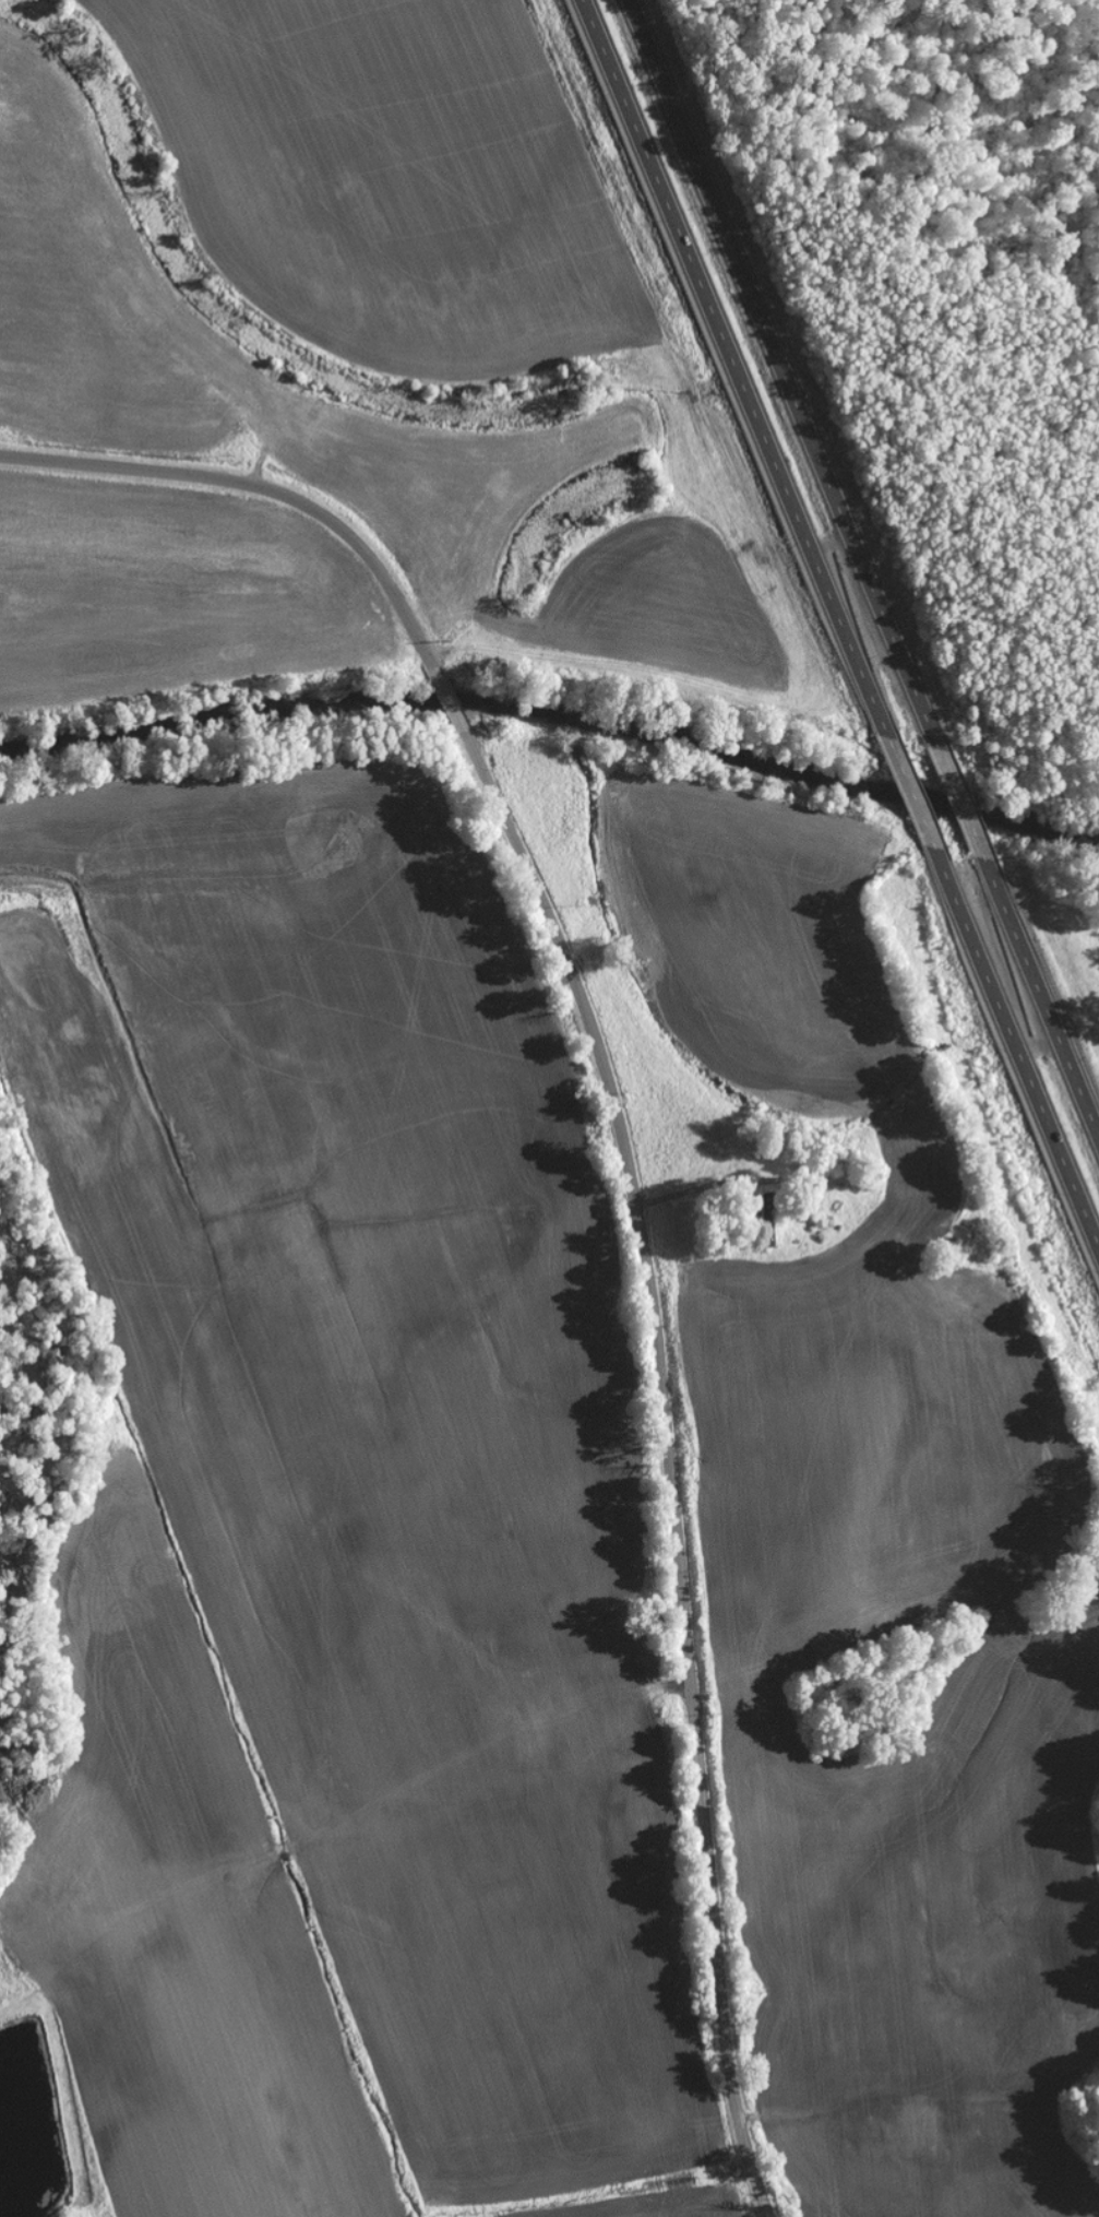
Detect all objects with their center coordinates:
road: (730, 359)
road: (783, 363)
road: (597, 657)
road: (1036, 726)
road: (909, 790)
road: (958, 798)
road: (1042, 1004)
road: (1018, 1055)
road: (628, 1170)

